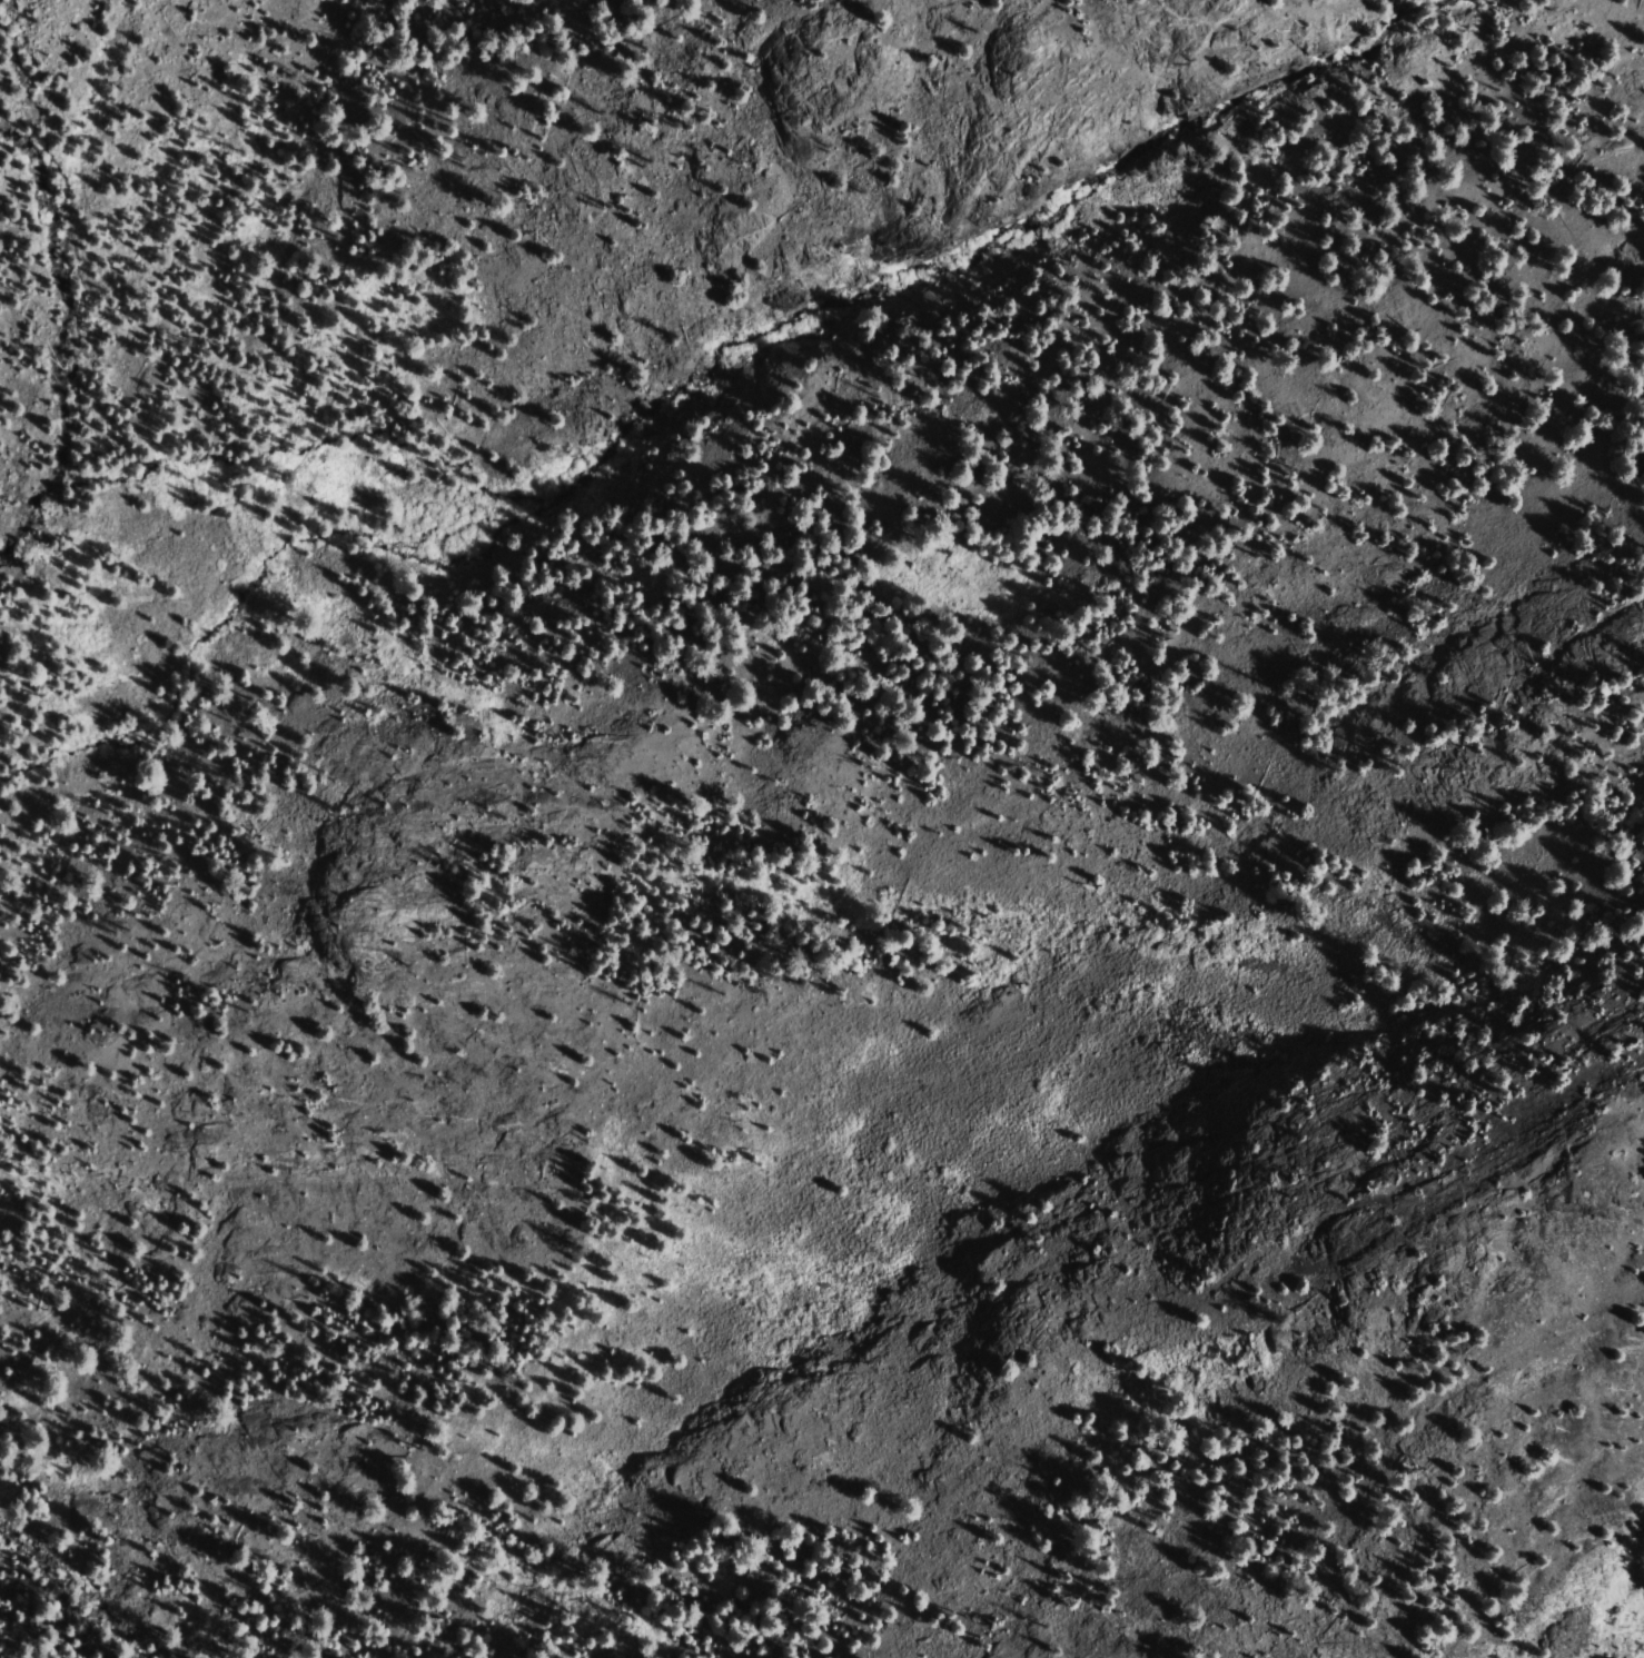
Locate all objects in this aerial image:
road: (1638, 1652)

